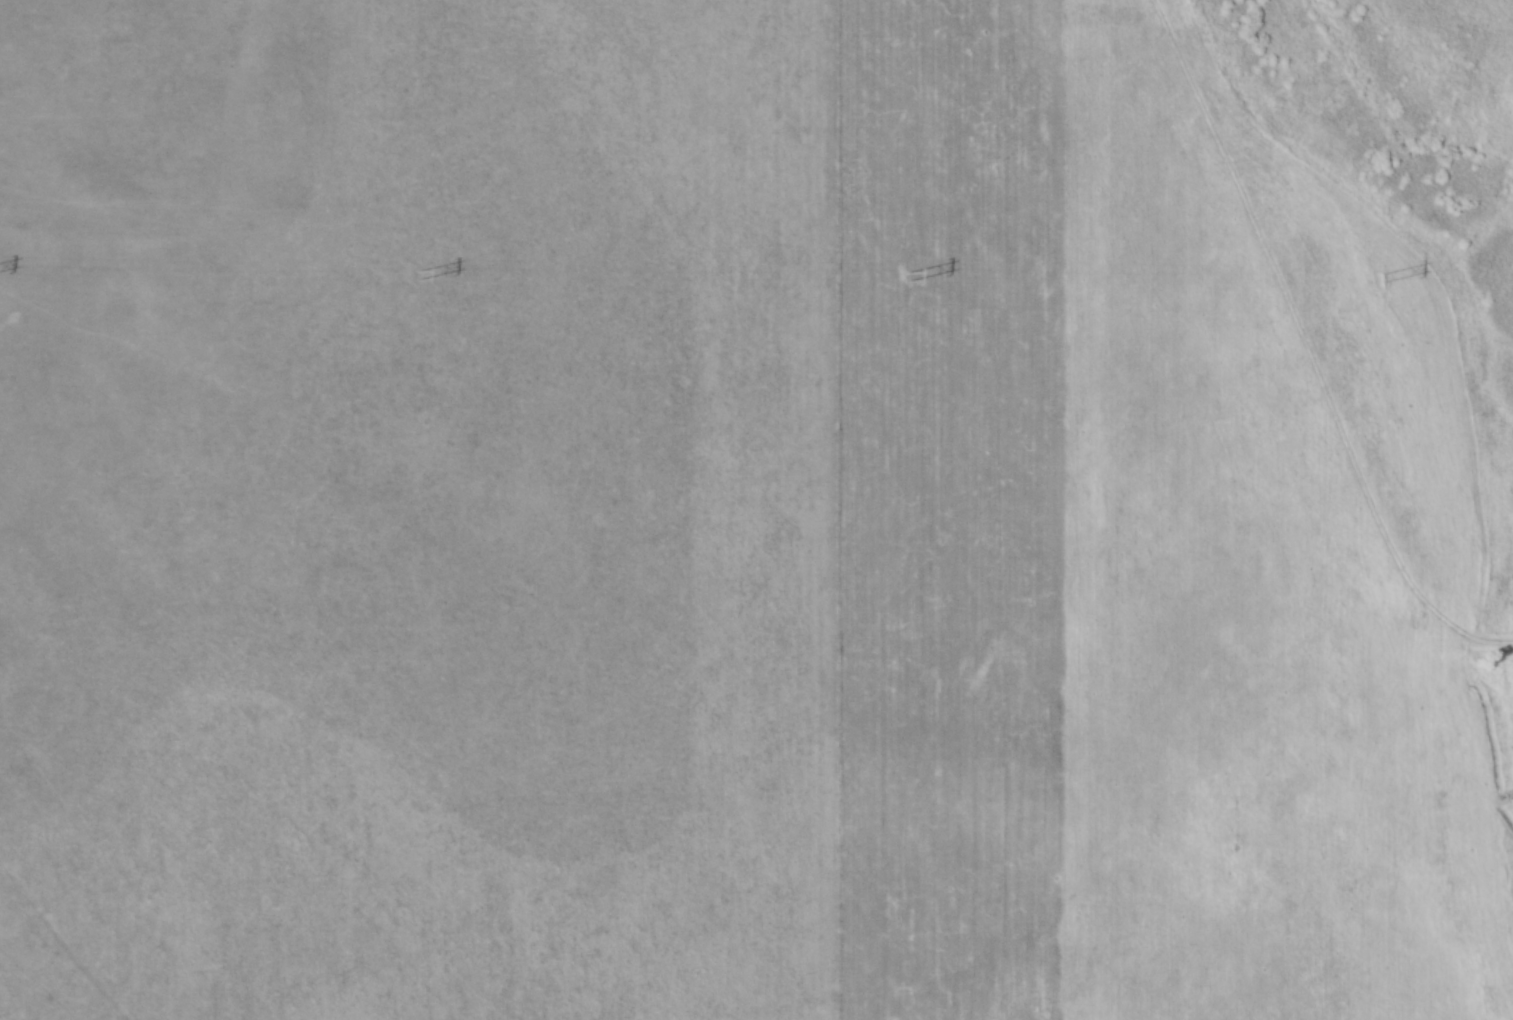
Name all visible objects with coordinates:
power tower: (418, 277)
power tower: (908, 279)
power tower: (1383, 280)
road: (1314, 350)

